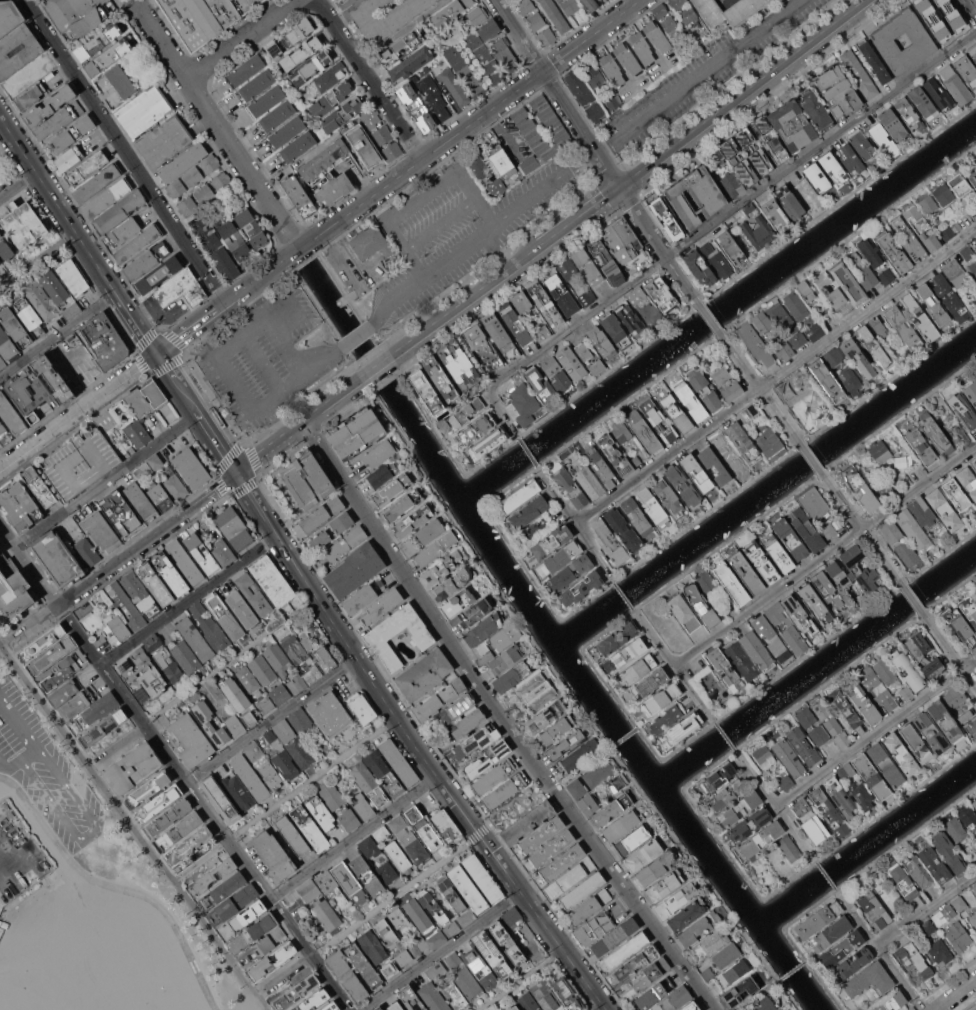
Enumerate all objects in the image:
road: (301, 0)
building: (559, 0)
building: (346, 3)
building: (591, 4)
building: (678, 4)
building: (524, 6)
building: (570, 6)
building: (728, 11)
building: (975, 11)
building: (660, 12)
building: (449, 13)
building: (949, 13)
building: (78, 15)
building: (555, 15)
building: (688, 16)
building: (9, 17)
building: (386, 17)
building: (931, 17)
building: (199, 18)
building: (473, 18)
building: (535, 21)
building: (669, 26)
building: (489, 30)
building: (297, 33)
building: (656, 36)
building: (546, 37)
road: (245, 38)
building: (97, 41)
building: (883, 41)
building: (400, 47)
building: (478, 47)
building: (641, 47)
building: (18, 50)
building: (274, 50)
building: (972, 52)
building: (300, 53)
building: (504, 54)
building: (108, 56)
building: (627, 58)
building: (457, 60)
building: (412, 63)
building: (875, 63)
building: (490, 67)
building: (310, 68)
building: (611, 69)
building: (245, 70)
building: (966, 71)
parking lot: (706, 72)
building: (858, 75)
road: (699, 76)
building: (329, 77)
road: (369, 77)
building: (497, 77)
building: (595, 77)
building: (121, 81)
building: (471, 81)
building: (255, 86)
building: (955, 86)
building: (454, 87)
building: (579, 87)
building: (478, 91)
road: (556, 93)
road: (739, 93)
building: (836, 93)
building: (938, 94)
building: (433, 96)
building: (28, 98)
building: (331, 99)
building: (266, 101)
building: (612, 102)
building: (922, 104)
building: (47, 107)
building: (418, 109)
building: (144, 110)
building: (595, 112)
building: (815, 112)
building: (908, 114)
building: (341, 115)
building: (276, 117)
building: (371, 119)
building: (55, 122)
road: (216, 124)
building: (892, 125)
building: (793, 126)
building: (759, 127)
building: (286, 132)
building: (72, 133)
building: (540, 133)
building: (381, 136)
building: (744, 138)
building: (164, 141)
building: (884, 142)
building: (363, 145)
building: (862, 146)
building: (296, 147)
building: (730, 149)
road: (125, 151)
building: (392, 151)
building: (776, 152)
building: (715, 157)
building: (69, 158)
building: (851, 160)
building: (183, 162)
building: (370, 162)
building: (209, 163)
building: (761, 163)
building: (503, 164)
building: (87, 167)
building: (833, 169)
road: (432, 170)
building: (746, 173)
building: (328, 174)
building: (486, 174)
road: (397, 175)
building: (192, 177)
building: (817, 179)
building: (973, 179)
building: (221, 181)
building: (97, 183)
building: (959, 185)
building: (733, 186)
road: (18, 187)
building: (176, 189)
road: (545, 189)
building: (204, 194)
building: (943, 194)
building: (298, 195)
building: (696, 195)
building: (107, 198)
road: (420, 198)
building: (789, 202)
building: (927, 204)
building: (187, 206)
road: (58, 207)
building: (213, 208)
building: (748, 208)
road: (732, 209)
building: (118, 212)
building: (774, 212)
road: (578, 214)
building: (666, 219)
building: (23, 225)
road: (440, 225)
building: (957, 225)
building: (200, 227)
parking lot: (462, 227)
building: (921, 228)
building: (251, 229)
building: (124, 231)
building: (948, 232)
building: (759, 233)
building: (908, 240)
building: (234, 241)
building: (211, 243)
building: (370, 243)
building: (137, 244)
building: (624, 244)
road: (658, 244)
building: (975, 247)
building: (730, 248)
building: (5, 249)
building: (706, 250)
building: (975, 250)
building: (871, 251)
building: (893, 252)
building: (967, 252)
road: (351, 253)
building: (146, 260)
road: (38, 261)
building: (386, 261)
building: (0, 263)
building: (607, 263)
building: (225, 264)
building: (586, 266)
building: (720, 266)
building: (567, 268)
building: (700, 269)
building: (862, 270)
building: (972, 270)
building: (954, 271)
road: (430, 272)
building: (158, 274)
building: (886, 276)
building: (74, 277)
building: (848, 283)
building: (53, 286)
building: (180, 289)
road: (716, 289)
building: (805, 290)
road: (505, 292)
building: (537, 293)
building: (833, 294)
building: (661, 295)
building: (561, 296)
building: (636, 296)
building: (950, 297)
building: (587, 298)
road: (464, 299)
building: (272, 300)
building: (41, 301)
building: (521, 302)
building: (933, 305)
building: (796, 306)
building: (70, 310)
road: (868, 310)
building: (650, 313)
building: (552, 315)
building: (29, 316)
building: (919, 317)
building: (630, 319)
road: (709, 319)
building: (762, 322)
building: (514, 323)
road: (733, 323)
road: (136, 324)
building: (785, 324)
building: (14, 327)
building: (902, 327)
building: (878, 328)
road: (165, 332)
building: (616, 332)
building: (815, 332)
building: (542, 334)
road: (58, 335)
road: (357, 337)
building: (500, 337)
building: (101, 341)
building: (602, 343)
building: (755, 343)
building: (481, 345)
building: (7, 346)
building: (874, 346)
building: (783, 350)
road: (287, 352)
building: (583, 352)
traffic signals: (157, 353)
building: (833, 357)
building: (858, 357)
parking lot: (266, 358)
road: (219, 360)
road: (262, 361)
building: (2, 362)
building: (571, 364)
building: (459, 365)
building: (550, 365)
road: (376, 366)
building: (597, 367)
road: (167, 368)
building: (721, 375)
building: (975, 377)
building: (53, 378)
building: (440, 379)
road: (384, 380)
building: (851, 380)
building: (827, 381)
building: (561, 383)
building: (539, 384)
road: (757, 385)
building: (35, 386)
road: (281, 387)
building: (703, 389)
building: (732, 391)
building: (970, 391)
building: (153, 393)
building: (427, 393)
building: (21, 398)
road: (187, 398)
building: (664, 398)
road: (333, 399)
building: (138, 403)
building: (524, 404)
building: (695, 405)
road: (78, 409)
road: (342, 410)
building: (963, 410)
road: (502, 412)
building: (747, 413)
building: (465, 414)
building: (11, 415)
road: (273, 418)
building: (658, 420)
road: (432, 422)
building: (131, 424)
building: (687, 424)
building: (2, 428)
building: (476, 429)
building: (621, 431)
building: (114, 432)
building: (644, 432)
building: (934, 433)
building: (957, 433)
building: (357, 435)
road: (216, 442)
building: (743, 442)
building: (769, 443)
building: (486, 444)
building: (919, 444)
road: (268, 447)
road: (528, 451)
building: (879, 451)
building: (378, 453)
road: (667, 455)
building: (728, 455)
building: (614, 456)
road: (809, 456)
building: (155, 460)
building: (635, 460)
building: (903, 461)
building: (80, 462)
road: (773, 462)
building: (973, 463)
road: (254, 465)
building: (714, 465)
building: (191, 468)
building: (602, 468)
building: (145, 472)
traffic signals: (235, 474)
building: (695, 474)
building: (379, 476)
building: (587, 478)
road: (105, 479)
building: (306, 480)
building: (906, 480)
building: (967, 481)
road: (919, 484)
building: (39, 486)
building: (176, 486)
building: (571, 487)
building: (683, 487)
building: (865, 489)
building: (885, 489)
building: (391, 490)
road: (210, 492)
building: (955, 494)
building: (519, 496)
building: (161, 497)
building: (668, 497)
road: (783, 499)
building: (141, 502)
building: (813, 503)
building: (335, 504)
building: (402, 505)
building: (653, 506)
building: (19, 507)
building: (944, 510)
building: (119, 511)
building: (529, 512)
building: (923, 512)
building: (637, 516)
building: (413, 521)
building: (311, 522)
building: (342, 523)
road: (575, 523)
road: (864, 527)
building: (234, 528)
building: (806, 529)
building: (623, 530)
building: (101, 531)
building: (828, 531)
building: (430, 532)
building: (914, 533)
building: (789, 538)
building: (320, 541)
building: (347, 541)
building: (609, 542)
building: (550, 543)
building: (899, 543)
building: (408, 548)
building: (436, 548)
building: (87, 551)
building: (934, 552)
building: (201, 553)
building: (223, 553)
building: (563, 557)
building: (779, 557)
building: (57, 558)
road: (121, 558)
road: (523, 560)
building: (184, 562)
building: (761, 562)
road: (28, 566)
building: (439, 569)
building: (860, 569)
building: (354, 570)
building: (746, 572)
building: (170, 573)
building: (571, 573)
building: (837, 574)
building: (272, 580)
building: (155, 583)
building: (453, 583)
building: (731, 583)
building: (707, 584)
building: (581, 588)
building: (12, 589)
building: (828, 591)
building: (140, 594)
building: (253, 595)
road: (622, 595)
road: (769, 596)
road: (188, 600)
building: (359, 600)
building: (460, 601)
road: (913, 601)
building: (815, 603)
building: (125, 605)
building: (701, 605)
building: (381, 606)
building: (969, 609)
building: (242, 610)
building: (476, 612)
building: (683, 612)
building: (775, 613)
building: (224, 616)
building: (800, 617)
building: (960, 626)
road: (28, 627)
building: (118, 627)
building: (210, 628)
building: (256, 629)
building: (484, 629)
building: (505, 637)
building: (771, 637)
building: (376, 638)
building: (617, 638)
building: (196, 639)
building: (794, 639)
road: (822, 639)
building: (42, 641)
building: (306, 641)
building: (152, 642)
road: (1, 646)
building: (294, 649)
building: (756, 650)
building: (630, 652)
building: (923, 653)
road: (951, 654)
building: (52, 655)
building: (185, 657)
building: (506, 657)
building: (485, 658)
building: (277, 659)
building: (323, 659)
building: (740, 660)
building: (168, 664)
road: (673, 664)
building: (65, 669)
building: (148, 669)
building: (262, 669)
building: (725, 669)
building: (885, 670)
building: (908, 670)
building: (637, 671)
building: (312, 674)
building: (424, 674)
road: (833, 675)
building: (512, 677)
building: (868, 677)
building: (248, 679)
road: (201, 681)
building: (650, 683)
building: (296, 684)
building: (536, 691)
building: (906, 692)
building: (63, 693)
building: (279, 693)
building: (235, 694)
building: (953, 697)
building: (661, 698)
building: (839, 699)
building: (439, 700)
building: (885, 700)
building: (863, 702)
building: (969, 703)
building: (76, 704)
road: (577, 704)
road: (621, 704)
building: (102, 705)
building: (267, 705)
building: (361, 708)
building: (457, 708)
building: (821, 710)
building: (962, 710)
building: (522, 712)
building: (330, 715)
building: (852, 716)
building: (965, 716)
building: (545, 717)
building: (806, 717)
building: (249, 718)
road: (503, 719)
road: (271, 720)
building: (666, 720)
building: (300, 721)
building: (945, 721)
building: (209, 723)
building: (468, 723)
building: (235, 725)
building: (832, 725)
building: (971, 726)
building: (103, 727)
building: (682, 729)
building: (555, 730)
road: (876, 730)
building: (931, 732)
road: (723, 734)
building: (820, 735)
road: (623, 737)
building: (842, 739)
building: (191, 740)
building: (477, 740)
building: (915, 743)
building: (293, 744)
building: (565, 744)
road: (415, 745)
road: (437, 746)
building: (803, 747)
building: (253, 750)
road: (29, 753)
building: (901, 754)
building: (581, 755)
building: (763, 756)
building: (282, 757)
building: (788, 757)
building: (487, 759)
building: (399, 762)
road: (87, 764)
building: (886, 765)
building: (133, 768)
road: (581, 769)
parking lot: (44, 771)
building: (847, 771)
building: (384, 772)
building: (270, 776)
building: (871, 776)
building: (250, 777)
building: (493, 777)
building: (593, 777)
building: (720, 777)
building: (366, 780)
building: (786, 782)
building: (618, 783)
building: (148, 788)
building: (237, 790)
building: (505, 790)
building: (726, 795)
building: (861, 795)
road: (284, 798)
building: (841, 798)
building: (220, 800)
building: (384, 800)
building: (974, 802)
building: (158, 803)
road: (775, 803)
road: (511, 805)
building: (588, 805)
building: (339, 806)
road: (204, 807)
building: (363, 807)
building: (800, 808)
building: (612, 809)
building: (739, 809)
road: (86, 813)
building: (321, 813)
building: (830, 813)
building: (169, 816)
building: (967, 816)
road: (869, 819)
building: (528, 822)
building: (750, 824)
building: (445, 825)
building: (622, 825)
building: (309, 828)
building: (422, 828)
building: (815, 829)
building: (955, 829)
building: (179, 830)
building: (381, 833)
building: (542, 834)
building: (292, 835)
road: (906, 836)
road: (354, 837)
building: (761, 839)
building: (409, 840)
building: (632, 840)
road: (722, 842)
building: (188, 845)
building: (369, 847)
building: (551, 848)
building: (789, 848)
building: (948, 852)
building: (272, 855)
building: (644, 855)
building: (398, 857)
building: (674, 858)
building: (562, 862)
building: (934, 862)
building: (917, 872)
building: (387, 873)
road: (825, 873)
building: (649, 874)
building: (367, 876)
road: (4, 877)
building: (211, 877)
building: (483, 878)
building: (902, 881)
building: (565, 882)
building: (349, 883)
building: (665, 886)
building: (974, 887)
road: (116, 888)
building: (331, 888)
building: (467, 889)
building: (309, 890)
building: (581, 890)
building: (221, 891)
building: (450, 892)
building: (677, 900)
building: (959, 904)
building: (232, 905)
building: (432, 906)
building: (590, 906)
building: (874, 909)
road: (926, 909)
building: (949, 912)
building: (326, 914)
road: (368, 914)
building: (688, 914)
building: (419, 916)
building: (511, 916)
building: (466, 917)
building: (243, 918)
building: (397, 918)
building: (973, 919)
building: (818, 920)
building: (939, 920)
building: (700, 928)
building: (928, 928)
building: (450, 929)
building: (254, 932)
building: (385, 932)
building: (833, 932)
building: (278, 933)
building: (587, 934)
building: (958, 936)
building: (615, 937)
building: (436, 939)
road: (793, 941)
building: (507, 943)
road: (221, 945)
building: (709, 945)
building: (418, 946)
building: (373, 947)
building: (841, 949)
road: (879, 949)
building: (626, 950)
building: (256, 951)
road: (442, 951)
building: (492, 953)
building: (941, 953)
building: (727, 955)
building: (403, 957)
road: (805, 959)
building: (272, 960)
building: (453, 960)
building: (913, 960)
building: (637, 962)
building: (339, 964)
building: (853, 964)
building: (362, 965)
building: (480, 968)
building: (388, 969)
road: (792, 970)
building: (436, 971)
building: (651, 974)
building: (708, 974)
building: (732, 974)
road: (520, 979)
building: (869, 980)
building: (468, 983)
building: (355, 987)
building: (714, 987)
building: (739, 990)
building: (295, 992)
park: (155, 993)
building: (654, 993)
building: (567, 994)
road: (757, 994)
road: (954, 994)
building: (453, 995)
building: (546, 996)
building: (433, 997)
building: (411, 999)
building: (313, 1000)
building: (673, 1000)
building: (528, 1002)
building: (892, 1002)
building: (765, 1003)
building: (395, 1006)
building: (690, 1006)
building: (329, 1007)
building: (377, 1008)
building: (513, 1008)
road: (603, 1008)
building: (860, 1008)
building: (913, 1009)
building: (975, 1009)

